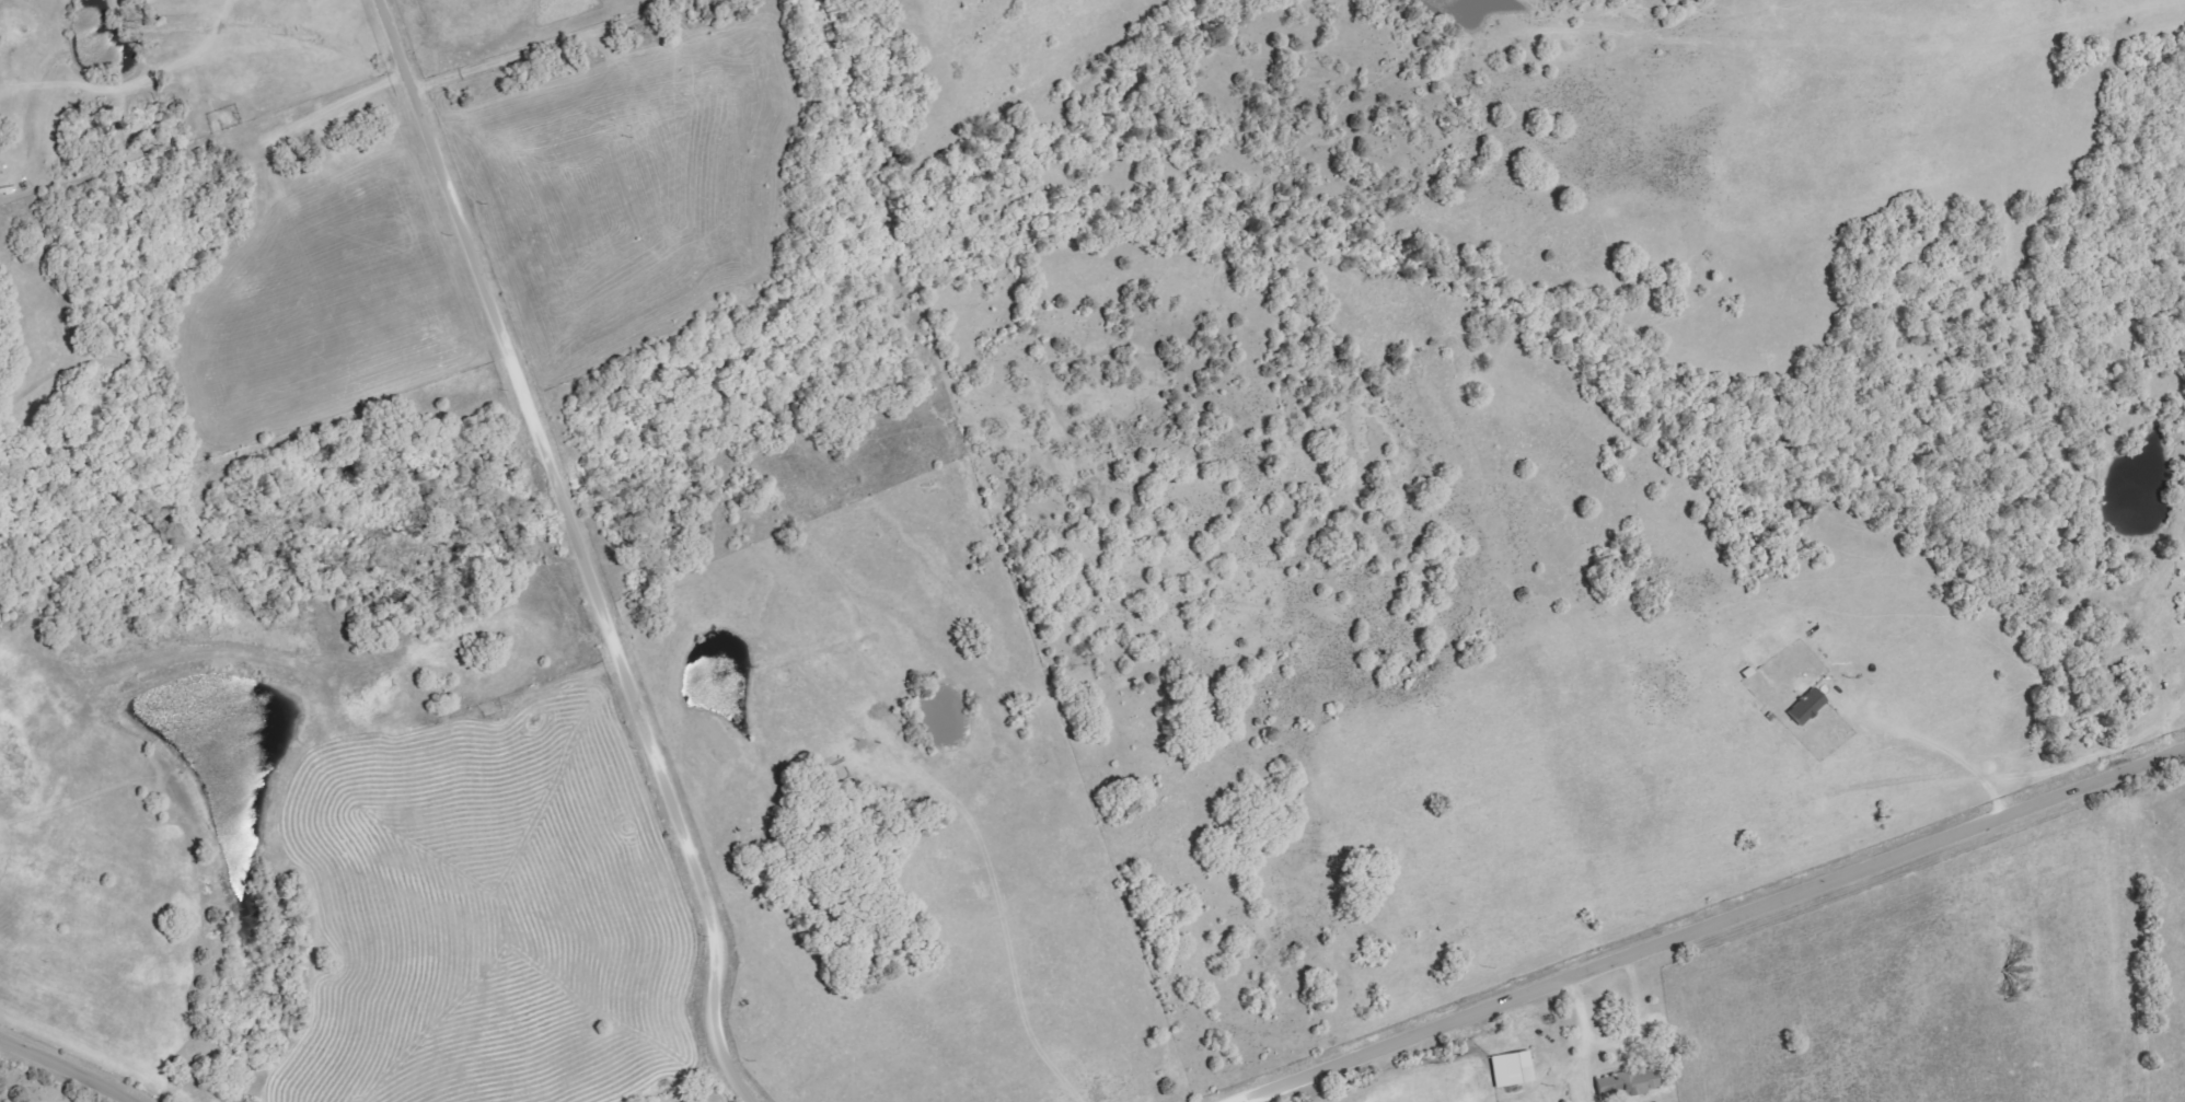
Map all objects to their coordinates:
road: (579, 550)
building: (1807, 700)
road: (1927, 740)
road: (1713, 919)
road: (1618, 1042)
road: (66, 1068)
building: (1514, 1068)
building: (1629, 1082)

